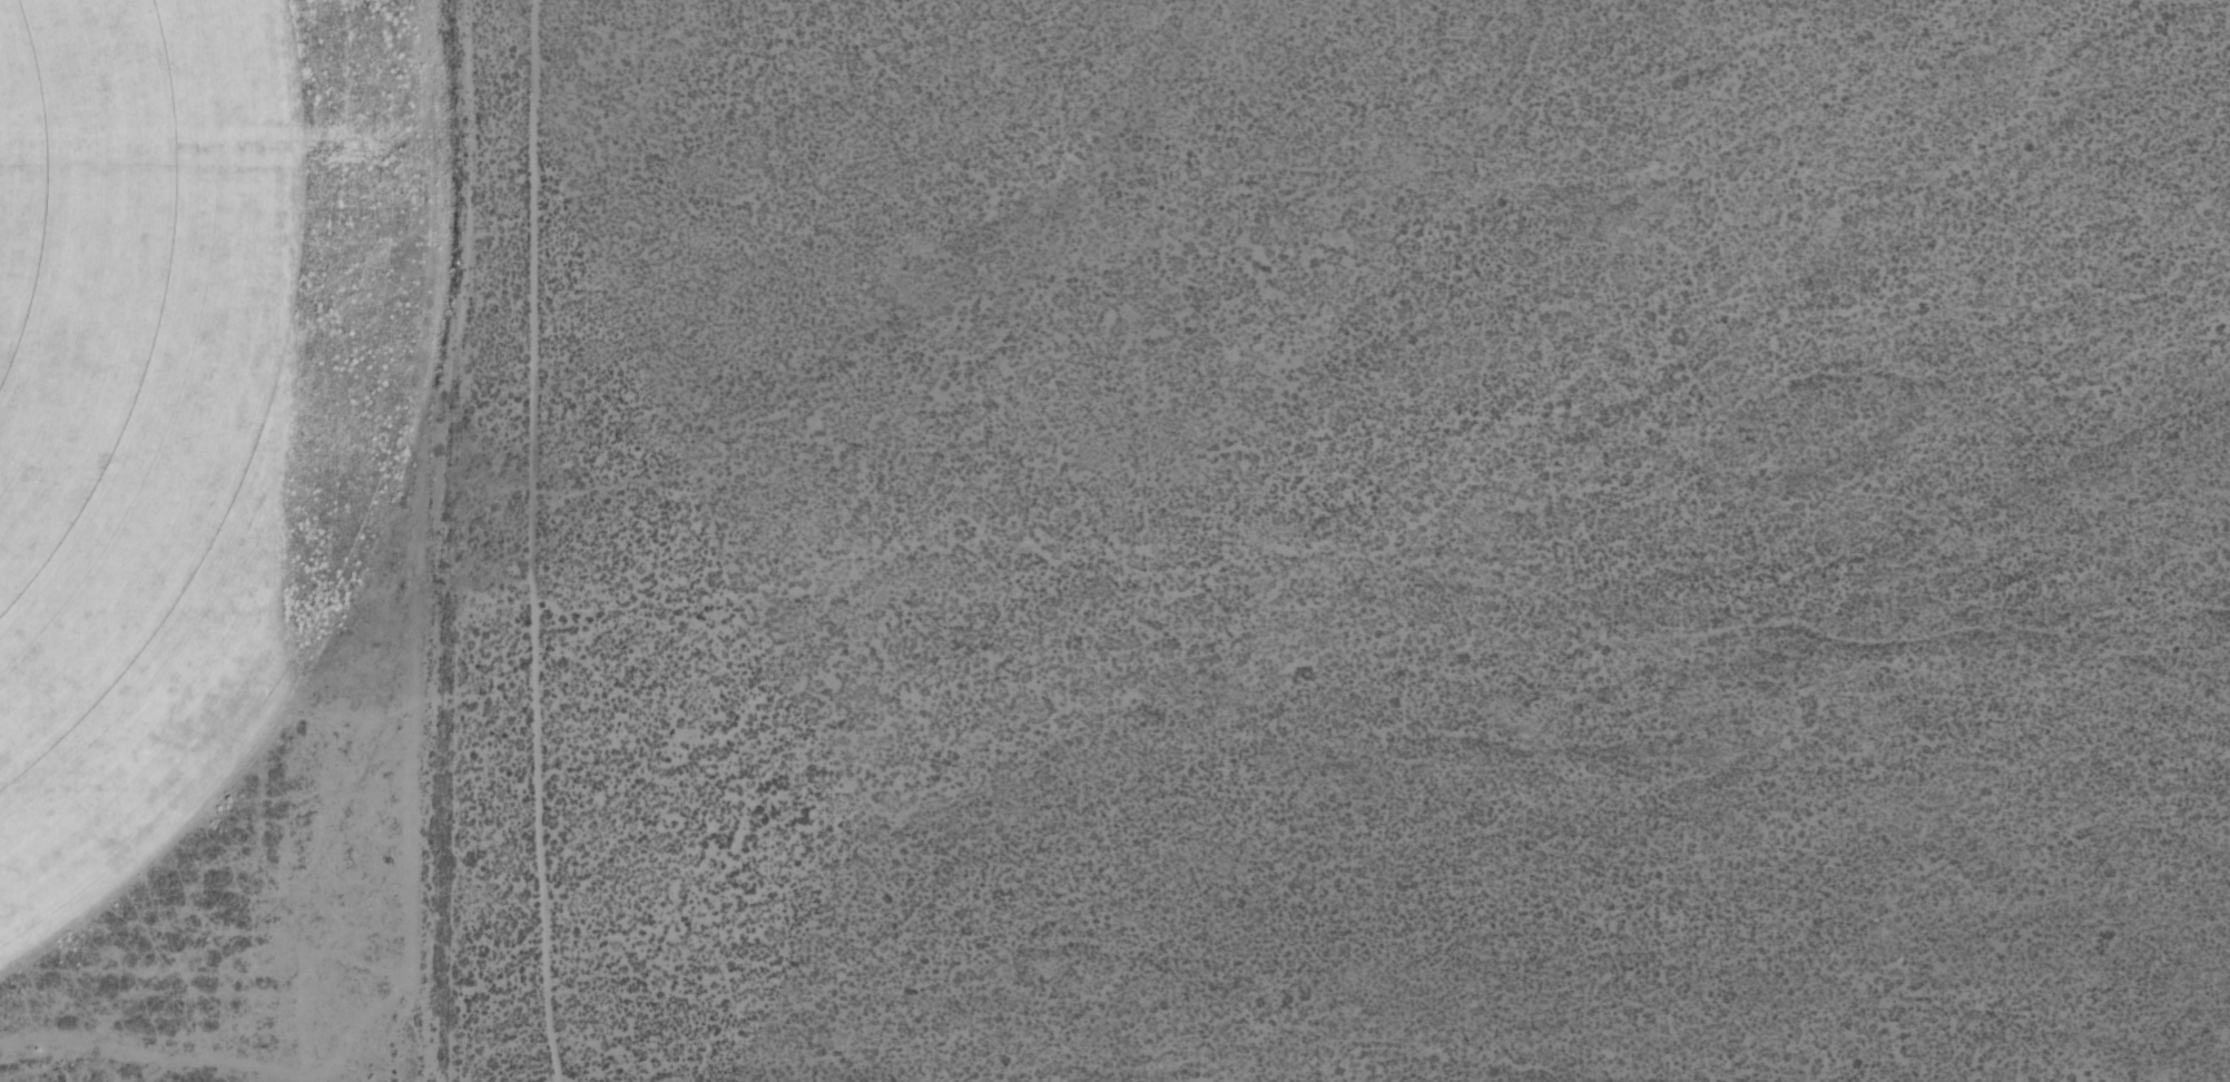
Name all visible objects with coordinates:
crop: (191, 393)
road: (436, 539)
road: (532, 541)

